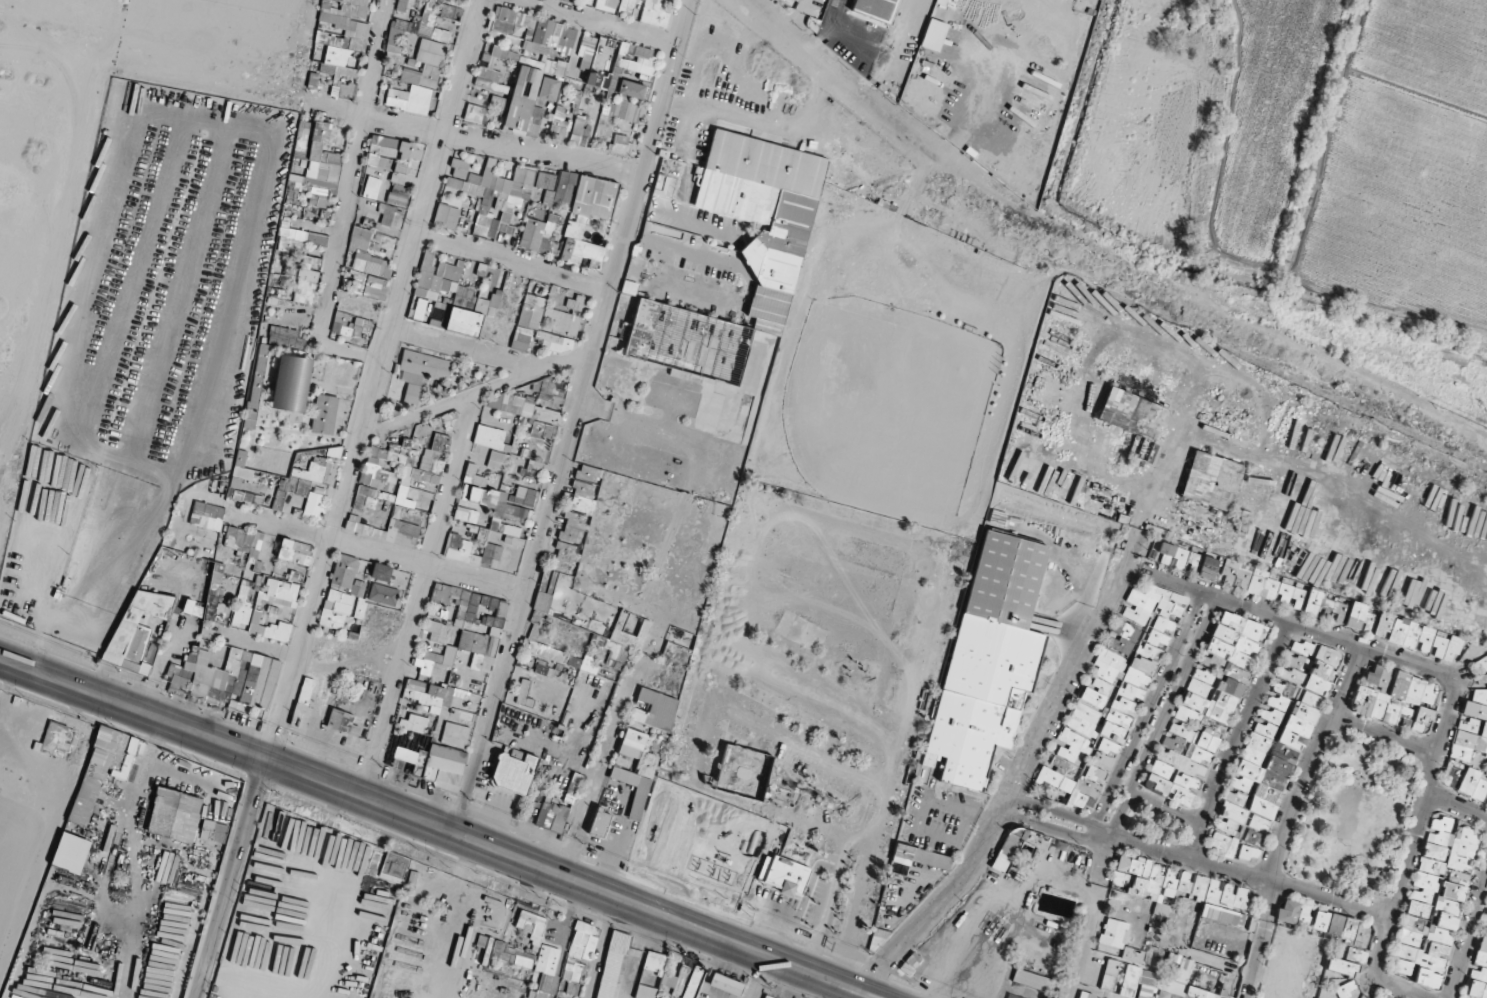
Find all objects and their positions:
crop: (1142, 120)
crop: (1270, 123)
crop: (1407, 163)
crop: (1393, 355)

